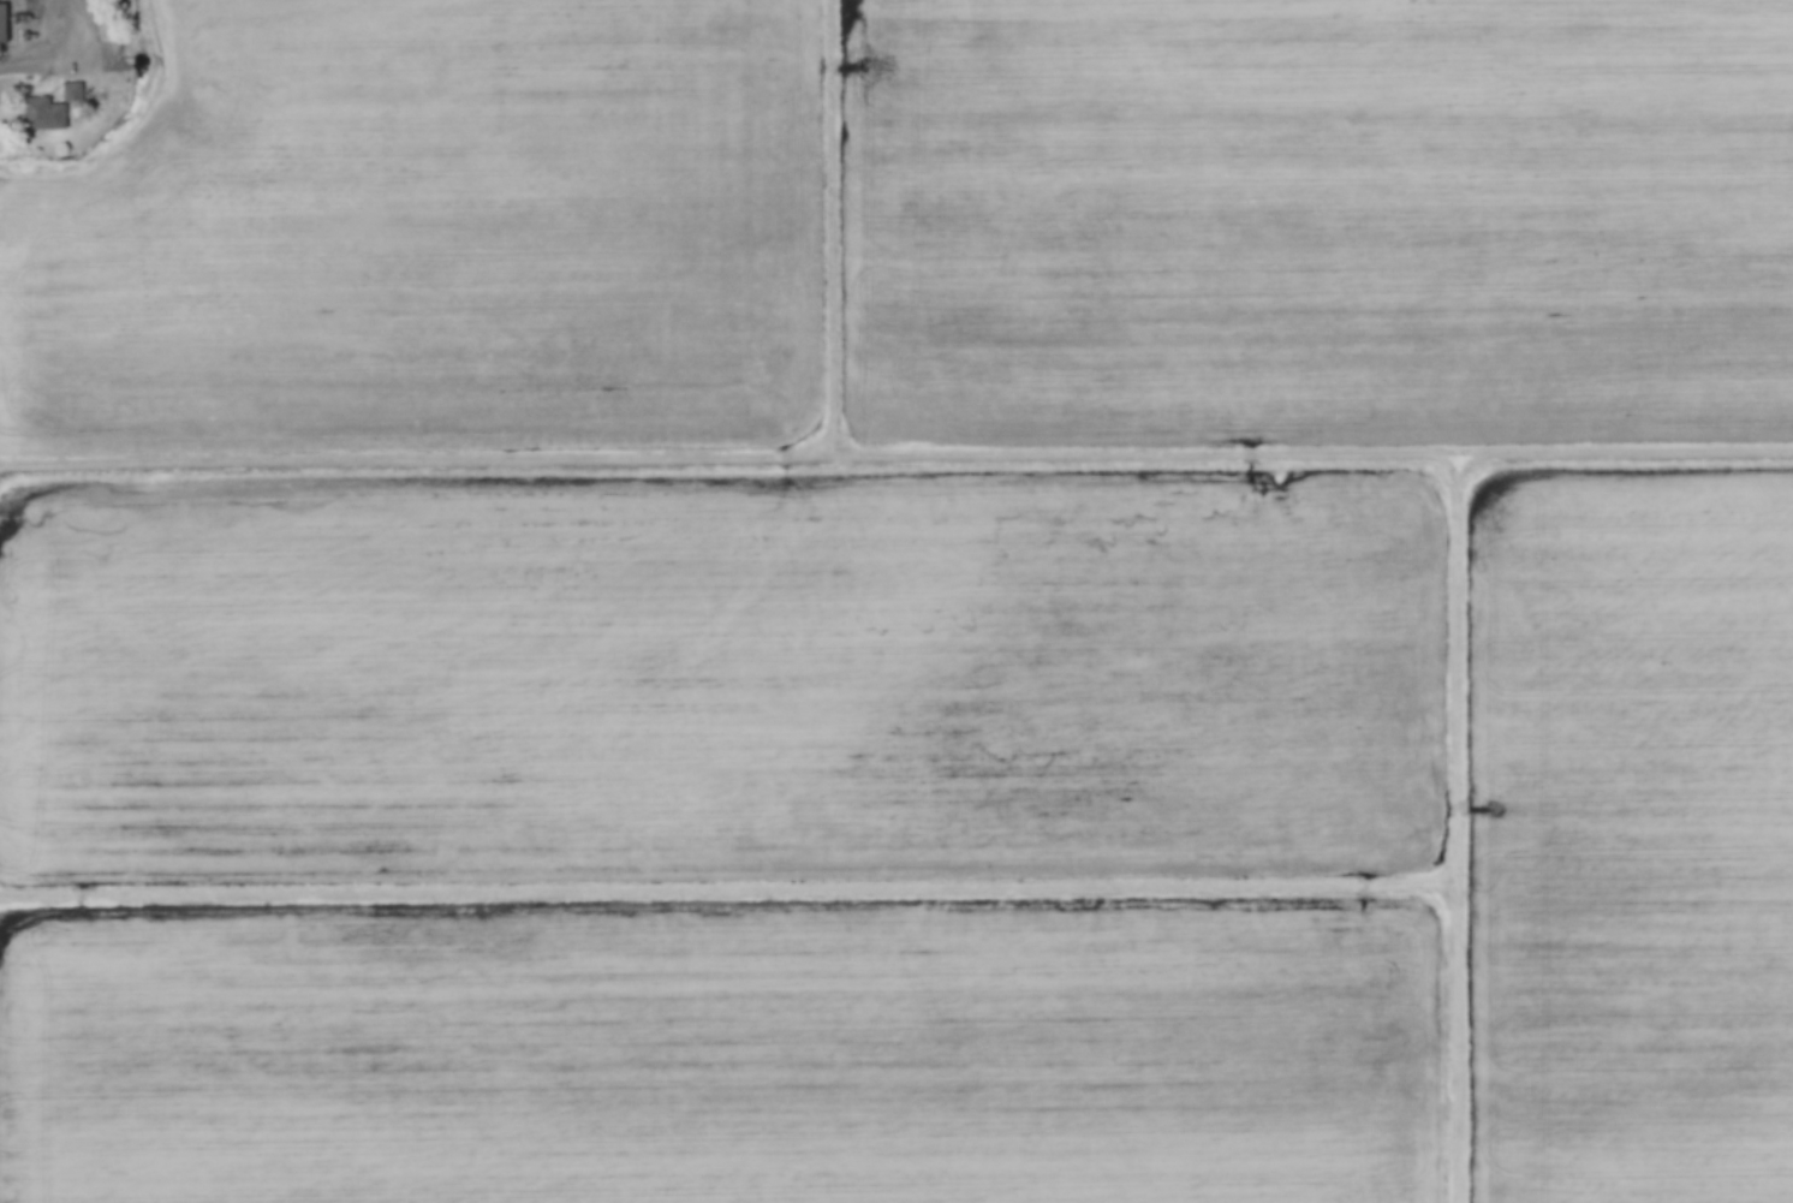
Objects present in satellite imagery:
building: (1, 22)
building: (48, 108)

